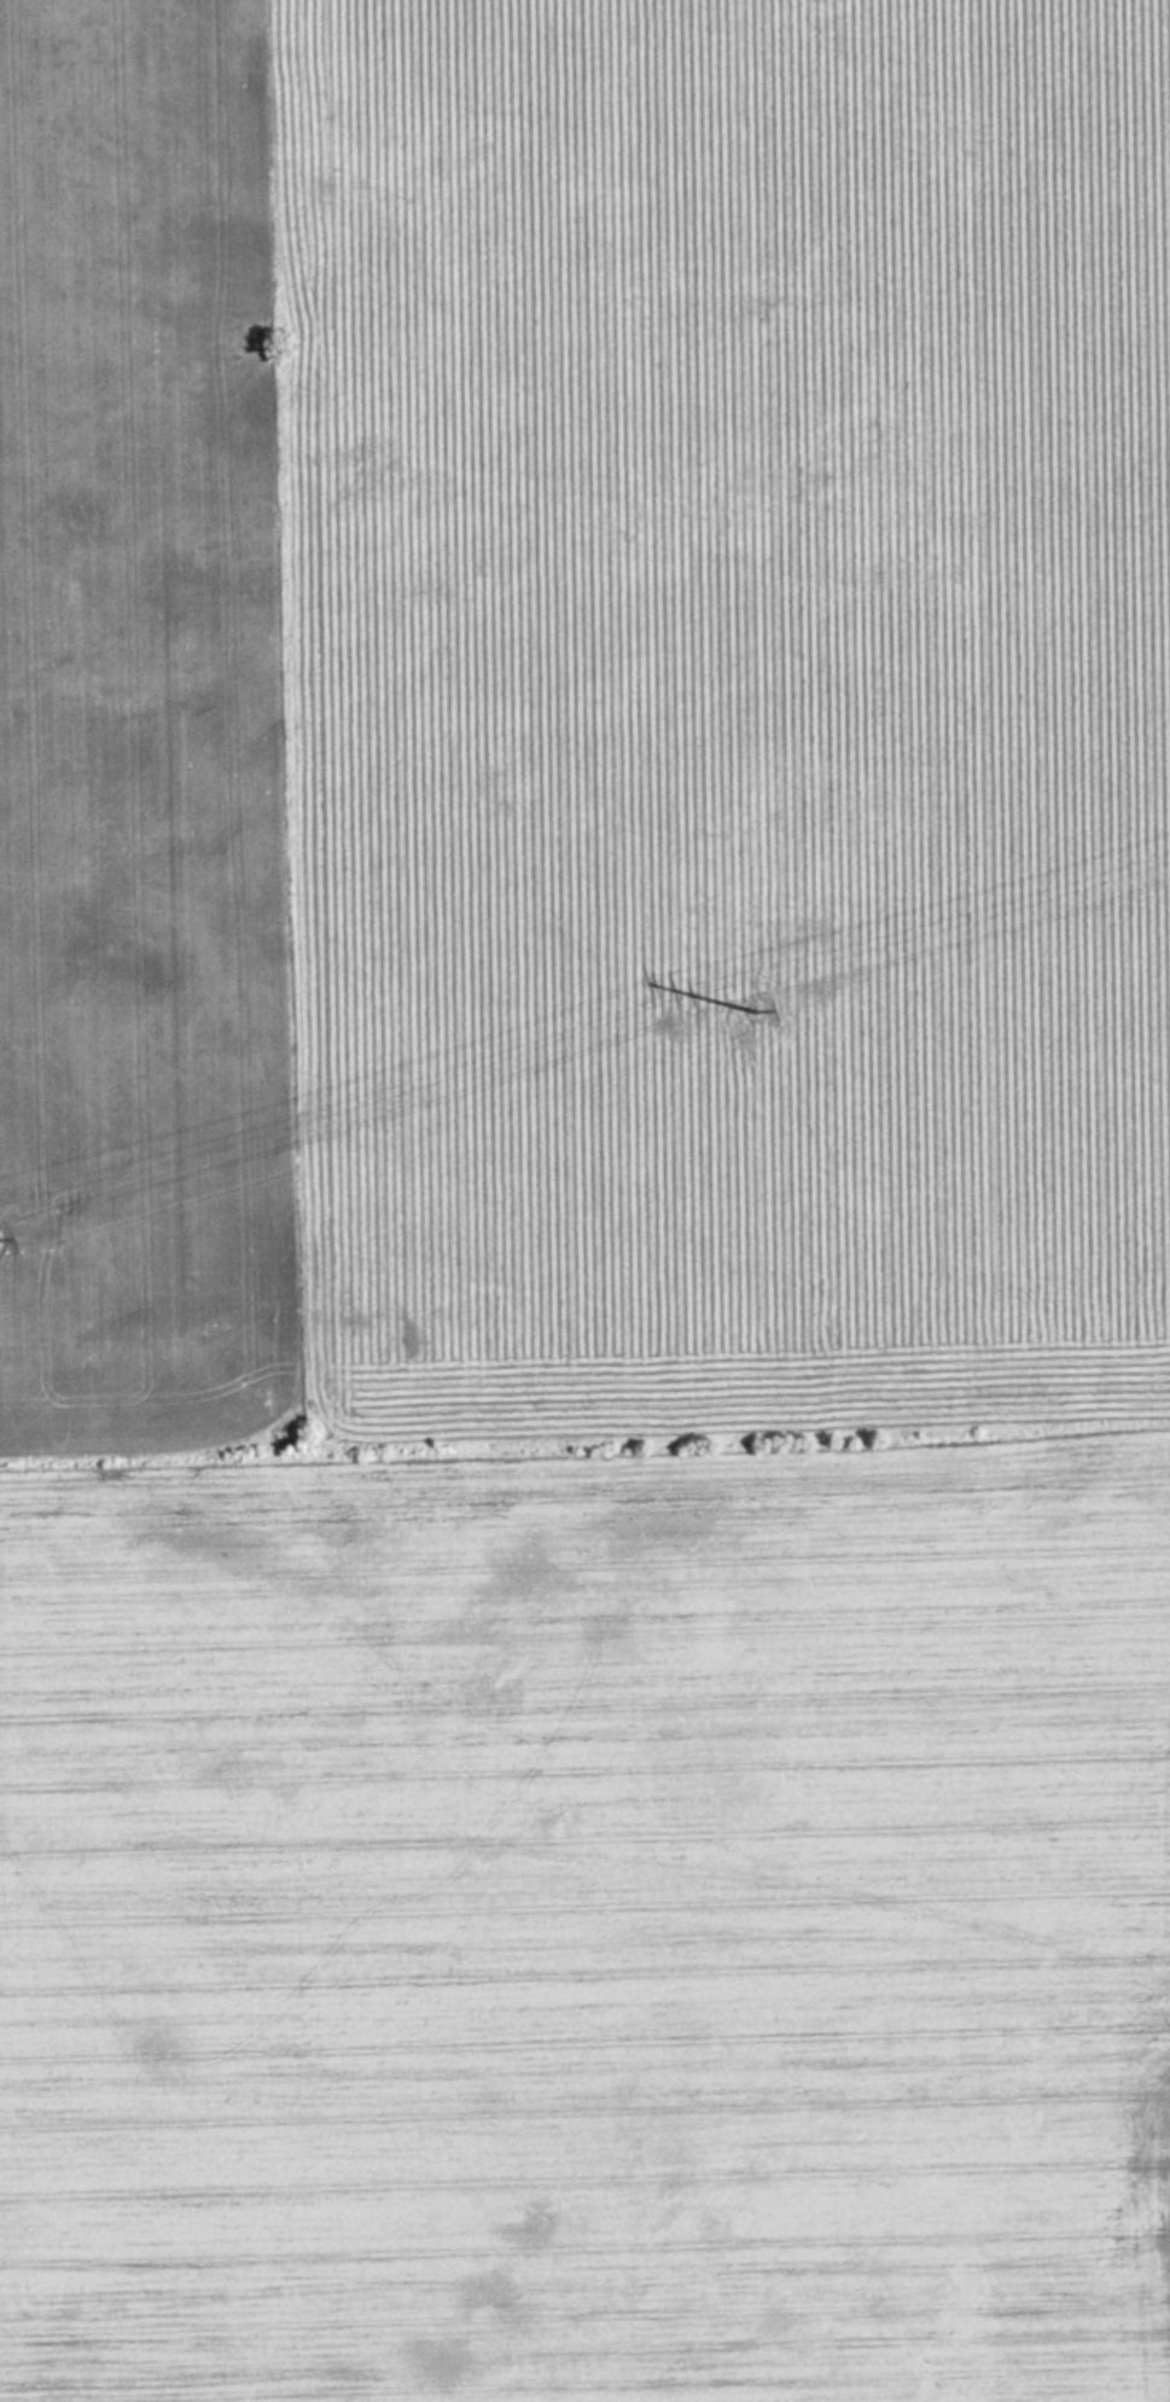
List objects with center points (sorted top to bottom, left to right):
power tower: (744, 1015)

